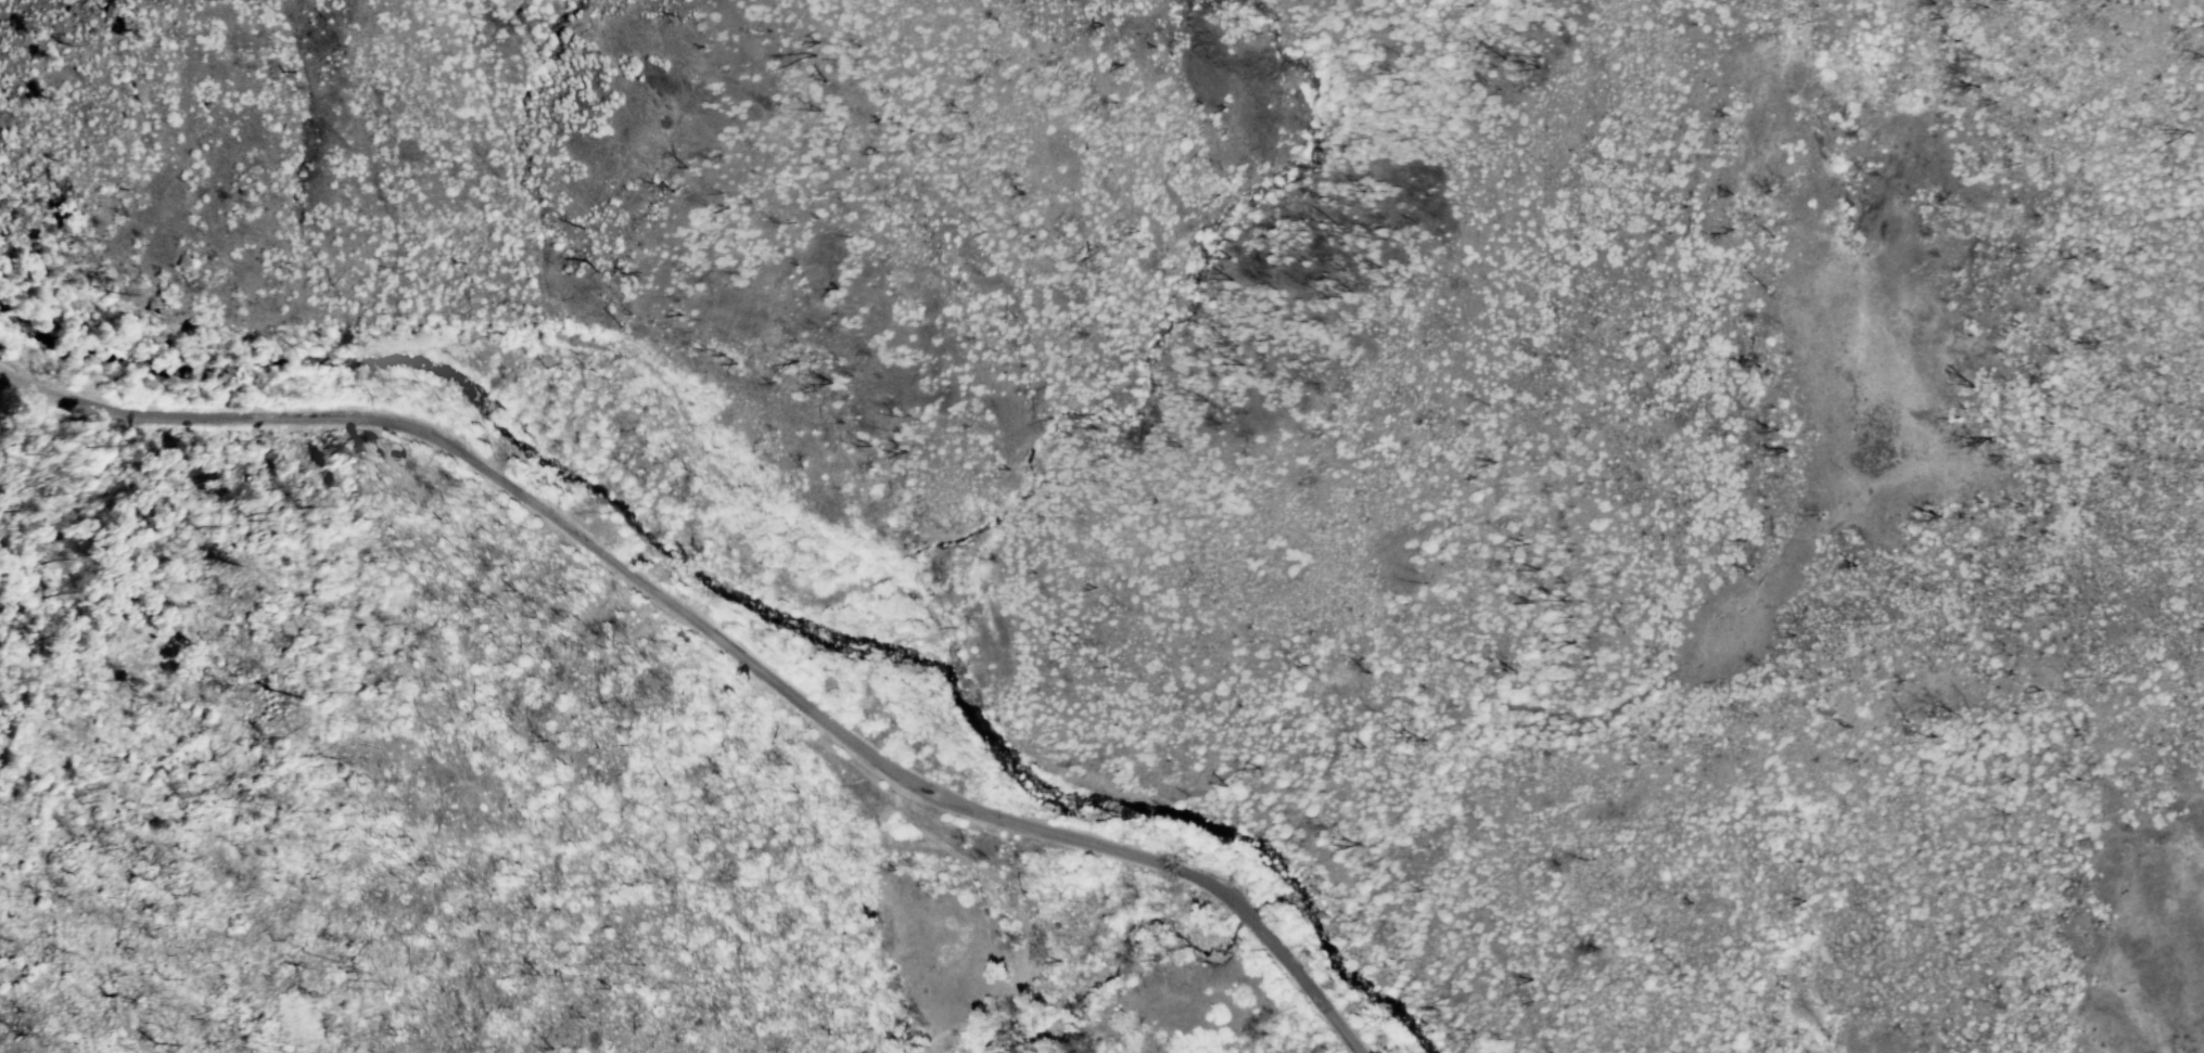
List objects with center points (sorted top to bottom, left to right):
road: (689, 619)
road: (986, 870)
building: (1058, 924)
road: (1330, 1014)
road: (1348, 1038)

